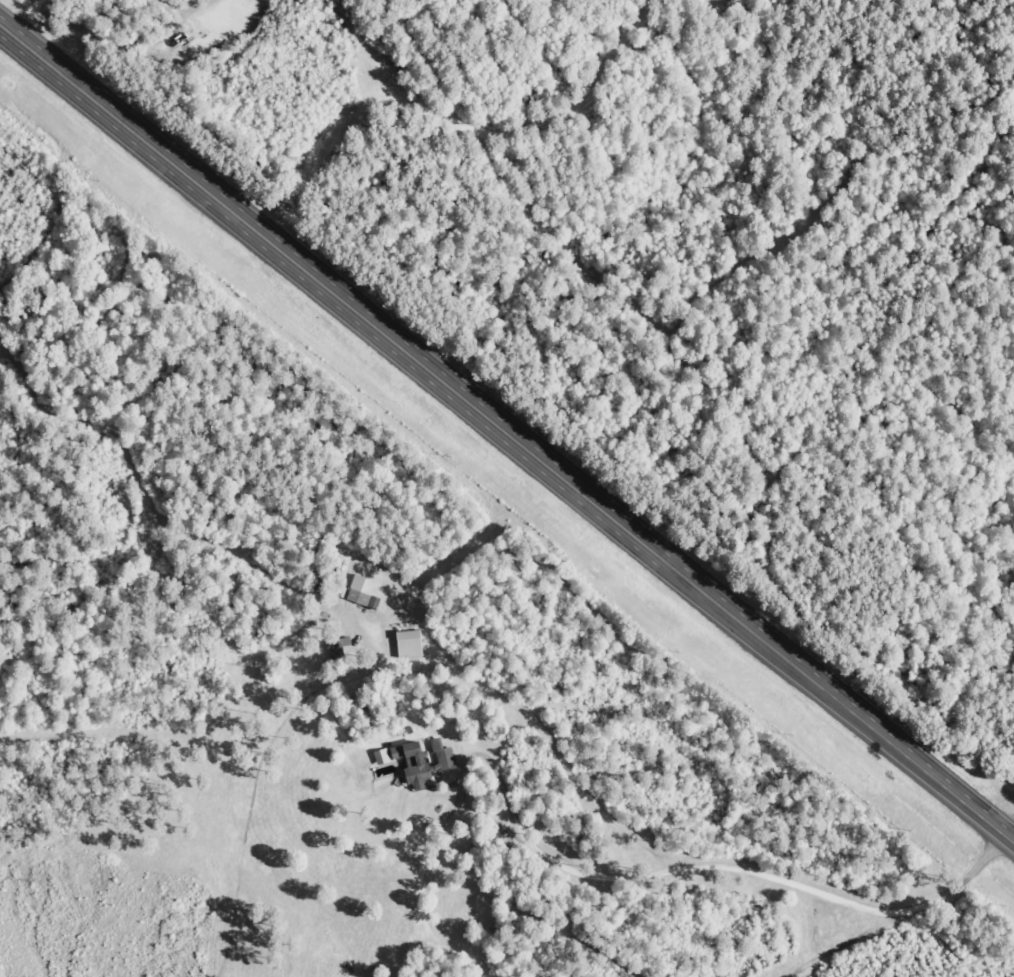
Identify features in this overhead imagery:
road: (506, 432)
building: (363, 598)
building: (408, 643)
building: (441, 754)
building: (380, 756)
building: (411, 763)

